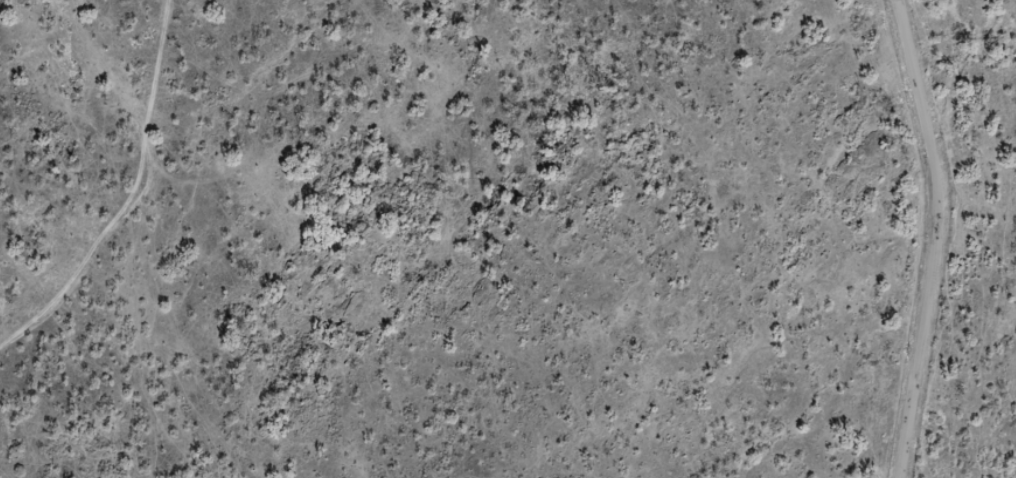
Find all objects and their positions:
road: (936, 237)

